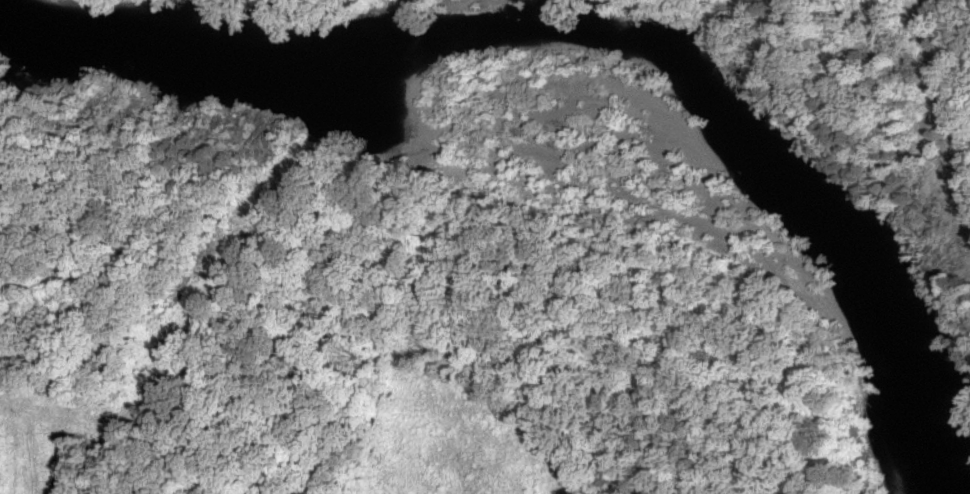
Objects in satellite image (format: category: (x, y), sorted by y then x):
river: (596, 38)

